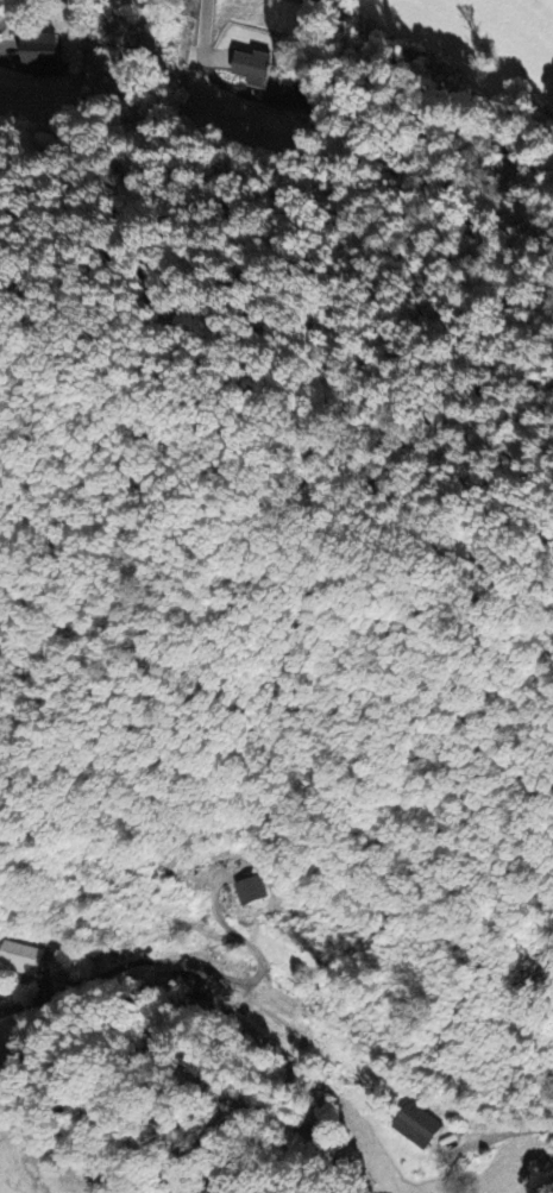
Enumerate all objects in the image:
road: (13, 10)
road: (201, 38)
road: (6, 45)
building: (39, 50)
building: (252, 67)
building: (251, 889)
building: (20, 956)
road: (195, 966)
road: (11, 1006)
building: (417, 1124)
road: (505, 1132)

